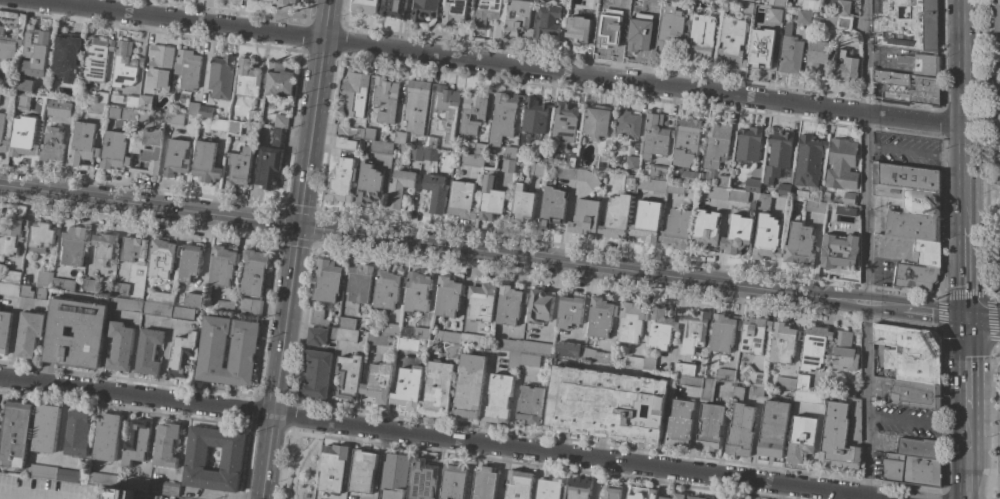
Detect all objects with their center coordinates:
building: (254, 0)
building: (750, 0)
building: (264, 1)
building: (622, 1)
building: (654, 1)
building: (286, 2)
building: (775, 3)
building: (808, 4)
building: (716, 5)
building: (364, 6)
building: (843, 7)
building: (396, 9)
building: (424, 9)
building: (745, 9)
building: (453, 11)
building: (486, 12)
building: (774, 13)
building: (516, 16)
building: (801, 16)
building: (997, 16)
building: (831, 19)
building: (546, 21)
building: (844, 22)
building: (906, 24)
building: (578, 26)
building: (669, 27)
building: (610, 31)
building: (700, 36)
building: (641, 37)
building: (731, 42)
building: (997, 45)
building: (7, 48)
building: (760, 48)
building: (34, 52)
building: (790, 52)
building: (817, 56)
road: (980, 57)
building: (65, 58)
building: (95, 59)
road: (495, 62)
building: (921, 64)
building: (124, 65)
building: (845, 65)
building: (160, 67)
building: (997, 68)
building: (186, 69)
building: (220, 77)
building: (247, 78)
building: (279, 80)
building: (9, 83)
building: (24, 84)
building: (927, 86)
building: (354, 94)
building: (385, 98)
building: (132, 100)
building: (22, 101)
building: (144, 101)
building: (416, 105)
building: (102, 106)
building: (59, 108)
building: (193, 108)
building: (446, 110)
building: (472, 110)
building: (205, 111)
road: (314, 112)
building: (127, 113)
road: (962, 114)
building: (142, 115)
building: (253, 116)
building: (502, 117)
building: (533, 118)
building: (175, 119)
building: (281, 121)
building: (564, 121)
building: (596, 121)
building: (627, 123)
building: (999, 123)
building: (218, 125)
building: (1, 126)
building: (234, 127)
building: (348, 130)
building: (369, 133)
building: (275, 136)
building: (655, 136)
building: (23, 137)
building: (399, 137)
building: (686, 141)
building: (430, 142)
building: (716, 142)
building: (83, 143)
building: (345, 143)
building: (52, 144)
building: (748, 144)
building: (139, 147)
building: (381, 148)
building: (479, 148)
building: (114, 151)
road: (864, 151)
building: (509, 152)
road: (913, 152)
building: (416, 154)
building: (429, 154)
building: (777, 154)
road: (983, 155)
building: (540, 156)
building: (176, 158)
building: (472, 160)
building: (572, 160)
building: (205, 162)
building: (602, 162)
building: (631, 162)
building: (508, 165)
building: (807, 165)
building: (841, 165)
building: (240, 166)
building: (268, 166)
building: (536, 168)
building: (659, 171)
building: (565, 172)
building: (906, 176)
building: (690, 177)
building: (587, 178)
building: (342, 180)
building: (722, 181)
building: (998, 181)
building: (629, 183)
building: (369, 184)
building: (652, 184)
building: (752, 184)
building: (399, 187)
building: (675, 187)
building: (783, 189)
building: (435, 192)
building: (718, 193)
building: (738, 196)
building: (825, 196)
building: (849, 198)
building: (999, 199)
building: (461, 200)
building: (490, 200)
building: (764, 202)
road: (149, 205)
building: (522, 205)
building: (814, 206)
building: (552, 207)
building: (752, 209)
building: (912, 212)
building: (616, 216)
building: (585, 217)
building: (646, 221)
traffic signals: (299, 226)
building: (677, 229)
building: (705, 230)
building: (737, 234)
building: (11, 235)
building: (41, 237)
building: (766, 238)
building: (104, 244)
building: (799, 245)
building: (73, 246)
building: (133, 248)
building: (840, 251)
building: (926, 252)
building: (161, 257)
building: (189, 261)
building: (223, 265)
road: (581, 265)
building: (253, 271)
road: (965, 272)
building: (9, 276)
building: (915, 276)
building: (44, 279)
building: (327, 281)
building: (360, 283)
building: (62, 284)
building: (88, 285)
building: (387, 288)
building: (9, 289)
building: (120, 289)
building: (26, 291)
building: (416, 292)
building: (40, 293)
road: (972, 295)
building: (448, 296)
building: (160, 297)
building: (193, 299)
building: (481, 302)
building: (126, 304)
building: (509, 304)
building: (539, 305)
building: (224, 306)
building: (250, 306)
road: (883, 307)
building: (157, 309)
building: (569, 310)
building: (182, 313)
road: (934, 313)
building: (601, 316)
building: (317, 317)
traffic signals: (966, 317)
road: (982, 319)
building: (346, 322)
building: (631, 322)
building: (660, 328)
building: (388, 329)
building: (4, 331)
building: (693, 331)
building: (724, 331)
building: (28, 333)
building: (89, 333)
building: (421, 333)
building: (343, 334)
building: (754, 335)
building: (316, 336)
building: (377, 338)
building: (470, 339)
road: (11, 340)
building: (243, 343)
building: (783, 343)
building: (407, 344)
building: (119, 346)
building: (452, 346)
building: (814, 347)
road: (996, 348)
building: (567, 349)
building: (148, 351)
building: (844, 351)
building: (911, 351)
building: (533, 352)
building: (511, 353)
building: (586, 353)
building: (182, 355)
building: (602, 357)
road: (278, 362)
building: (642, 362)
road: (164, 363)
road: (966, 363)
building: (684, 369)
building: (316, 374)
building: (724, 374)
building: (348, 377)
building: (754, 379)
building: (689, 381)
building: (378, 382)
building: (785, 382)
building: (468, 386)
building: (438, 387)
building: (407, 388)
building: (707, 390)
building: (849, 390)
road: (484, 391)
building: (806, 392)
building: (738, 393)
building: (914, 393)
building: (499, 397)
road: (866, 401)
building: (606, 404)
building: (530, 405)
building: (855, 420)
road: (992, 422)
road: (61, 423)
building: (679, 423)
road: (917, 423)
building: (710, 427)
building: (45, 428)
building: (773, 428)
building: (740, 431)
building: (14, 434)
building: (77, 434)
building: (106, 436)
road: (151, 438)
road: (441, 438)
building: (802, 438)
building: (837, 439)
building: (136, 441)
road: (753, 442)
building: (999, 444)
building: (165, 445)
building: (919, 446)
road: (966, 454)
building: (195, 458)
road: (376, 464)
road: (381, 464)
building: (333, 467)
building: (912, 468)
building: (41, 471)
building: (362, 471)
building: (67, 475)
building: (395, 475)
building: (423, 478)
road: (982, 478)
building: (103, 479)
building: (453, 481)
building: (484, 483)
building: (136, 484)
building: (518, 484)
building: (164, 487)
building: (549, 487)
building: (578, 488)
building: (612, 491)
building: (637, 492)
road: (779, 492)
building: (118, 493)
building: (652, 494)
road: (830, 495)
building: (674, 496)
building: (695, 497)
building: (720, 498)
building: (724, 498)

